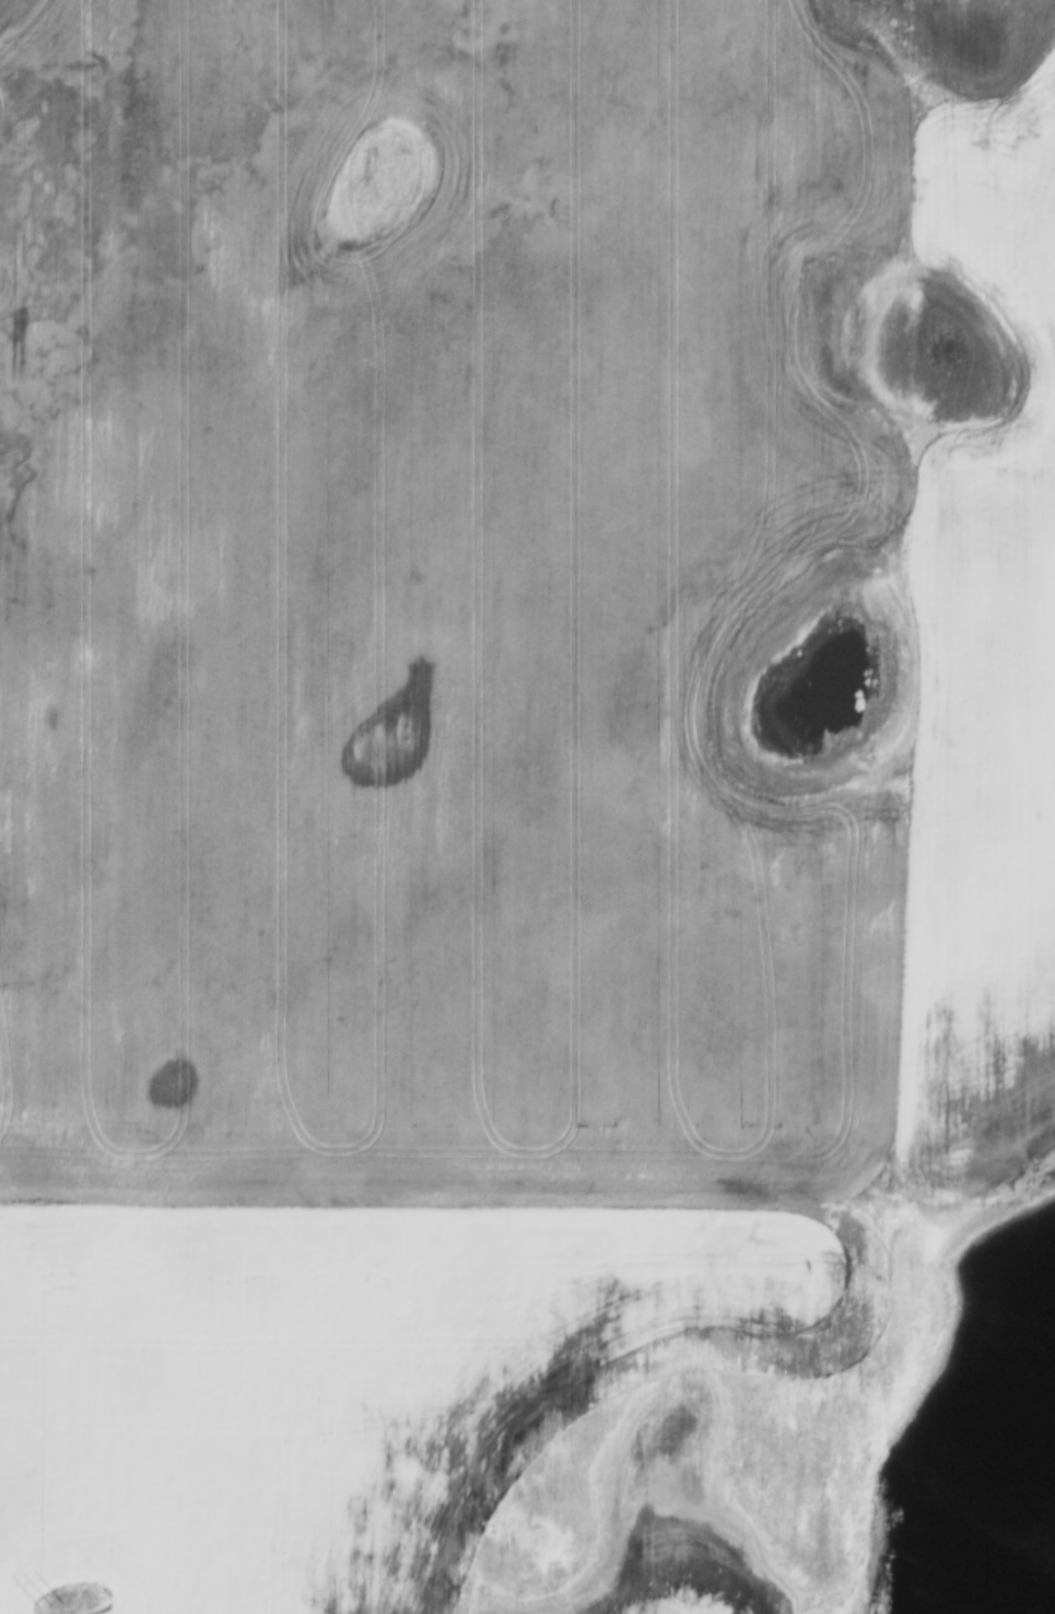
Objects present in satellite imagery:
power tower: (33, 1602)

